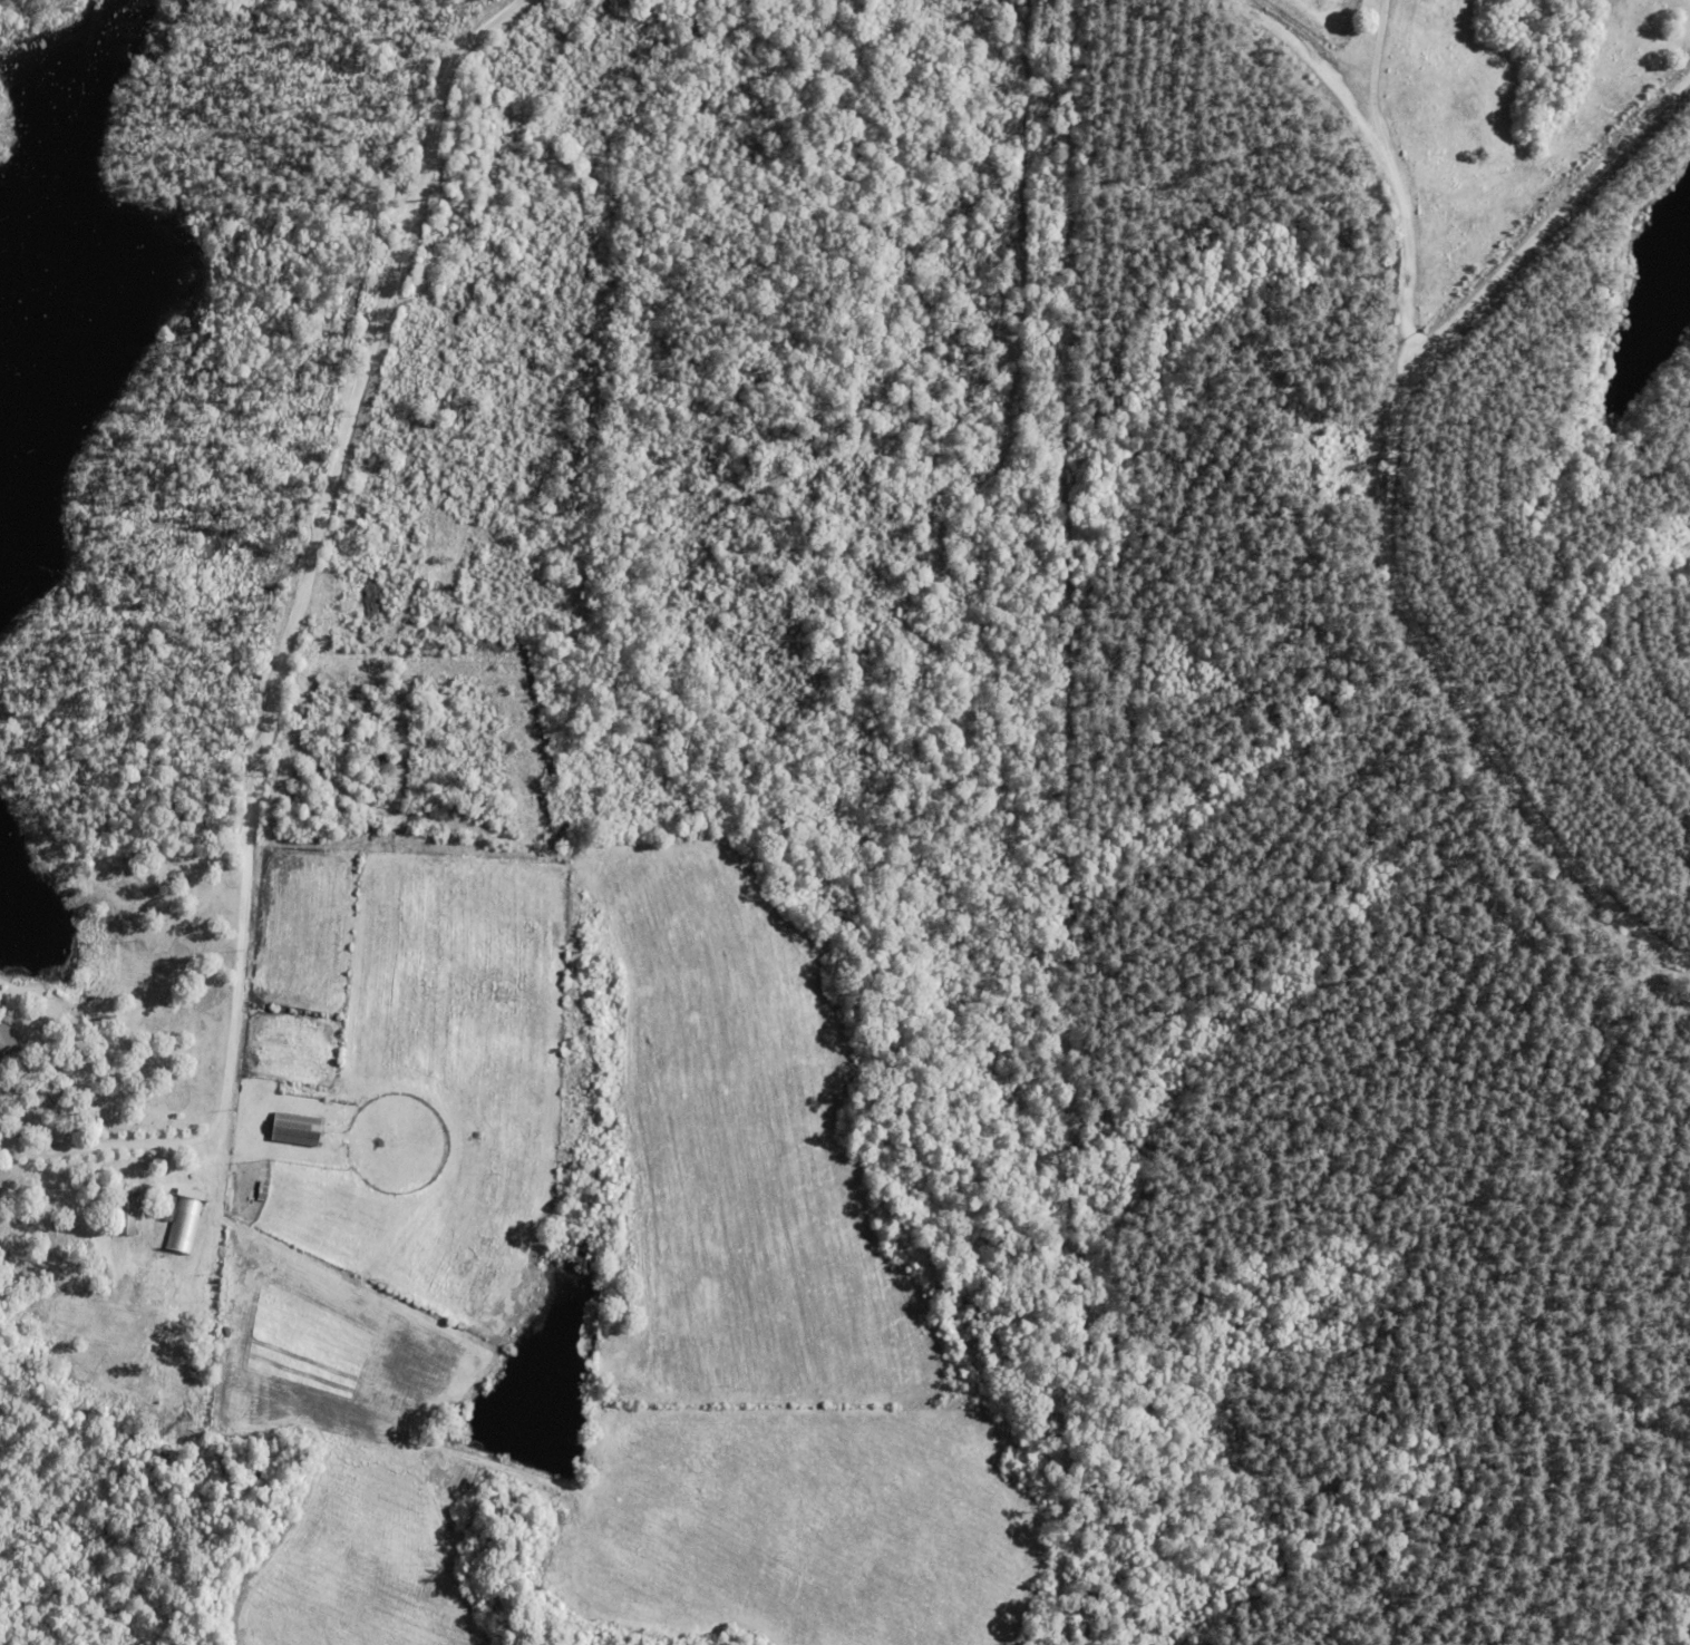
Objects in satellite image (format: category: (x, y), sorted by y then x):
road: (1554, 216)
road: (294, 626)
building: (6, 1039)
building: (295, 1128)
building: (171, 1208)
building: (125, 1214)

